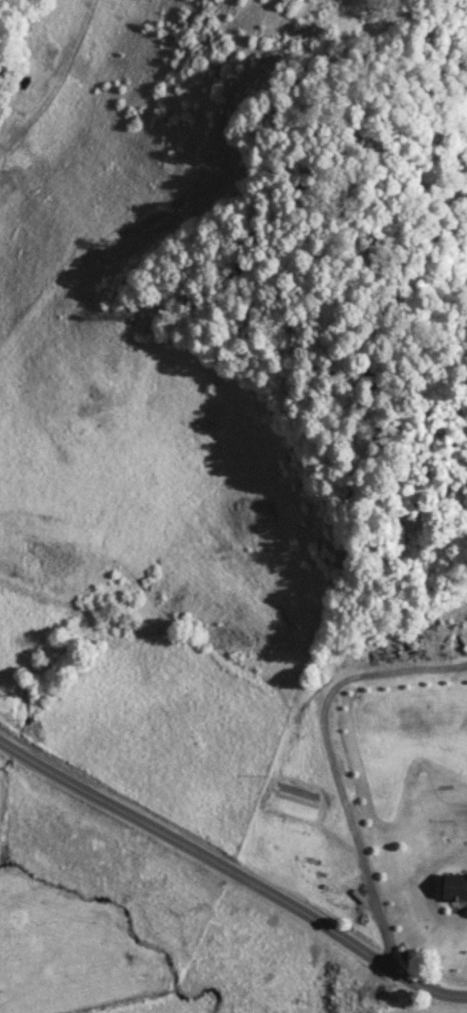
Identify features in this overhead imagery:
road: (333, 760)
road: (233, 870)
building: (453, 887)

